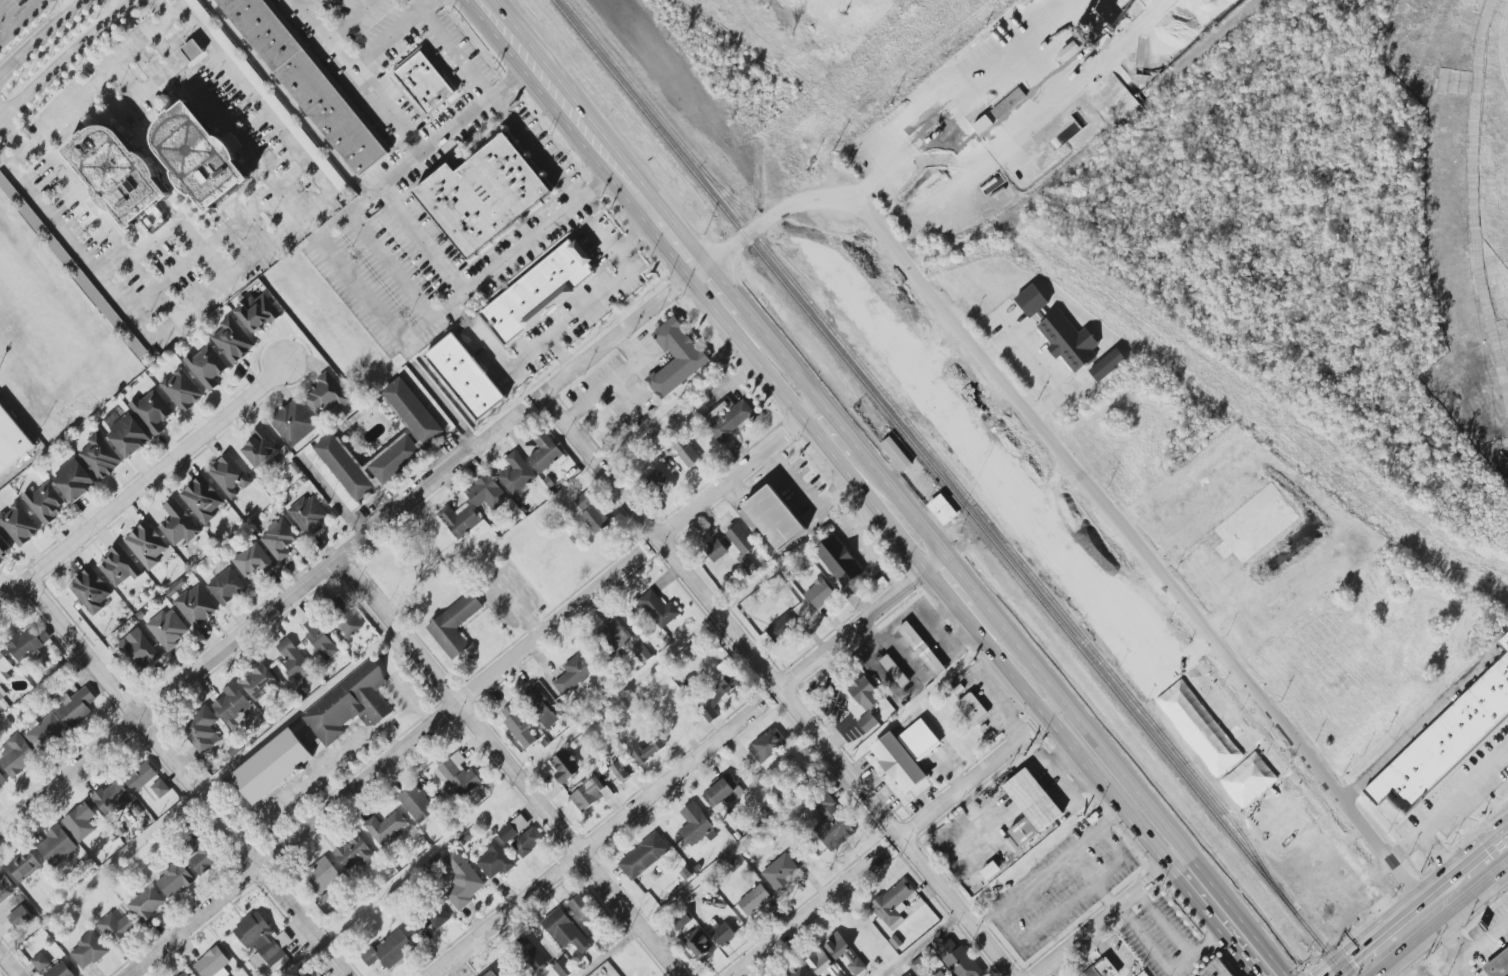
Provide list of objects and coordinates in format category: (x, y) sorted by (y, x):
road: (306, 2)
road: (70, 5)
road: (421, 5)
road: (19, 19)
parking lot: (21, 21)
road: (394, 33)
road: (505, 33)
road: (41, 35)
building: (193, 51)
building: (1070, 51)
road: (459, 52)
road: (66, 58)
road: (95, 78)
road: (512, 81)
building: (307, 82)
building: (425, 82)
road: (288, 99)
road: (387, 110)
building: (1000, 110)
road: (906, 112)
road: (576, 115)
road: (225, 124)
building: (982, 125)
road: (534, 148)
building: (198, 156)
building: (116, 173)
road: (638, 186)
building: (482, 195)
road: (786, 211)
road: (658, 213)
road: (183, 229)
road: (214, 239)
road: (678, 243)
railway: (937, 249)
road: (253, 258)
building: (72, 266)
road: (387, 267)
road: (730, 272)
road: (721, 288)
road: (601, 292)
building: (538, 293)
building: (1032, 301)
building: (257, 312)
road: (631, 320)
road: (411, 330)
building: (233, 340)
building: (1069, 341)
road: (783, 355)
building: (675, 358)
road: (510, 363)
building: (1106, 364)
building: (207, 367)
road: (1043, 369)
building: (461, 378)
building: (410, 379)
road: (613, 381)
building: (182, 390)
building: (326, 394)
road: (444, 405)
building: (152, 411)
building: (728, 419)
building: (294, 423)
road: (839, 423)
building: (128, 436)
building: (11, 441)
building: (413, 444)
building: (261, 448)
building: (545, 451)
building: (686, 452)
building: (896, 453)
railway: (933, 454)
building: (101, 457)
road: (739, 467)
building: (516, 474)
building: (229, 476)
building: (658, 480)
building: (74, 481)
road: (142, 483)
railway: (949, 487)
building: (487, 492)
road: (862, 495)
building: (202, 499)
road: (901, 501)
building: (45, 502)
building: (942, 510)
building: (592, 513)
building: (309, 515)
building: (773, 519)
building: (460, 520)
building: (19, 524)
building: (179, 524)
building: (279, 539)
building: (740, 539)
road: (661, 540)
building: (147, 545)
road: (1137, 545)
building: (4, 548)
building: (715, 550)
building: (839, 560)
building: (253, 561)
building: (119, 567)
road: (961, 577)
building: (226, 586)
building: (92, 590)
building: (820, 593)
building: (196, 606)
building: (659, 609)
road: (262, 619)
building: (346, 619)
road: (864, 619)
building: (454, 625)
building: (781, 627)
building: (168, 629)
building: (613, 638)
building: (321, 640)
building: (1504, 641)
building: (29, 642)
building: (922, 649)
building: (139, 650)
building: (642, 653)
building: (295, 662)
building: (4, 665)
building: (894, 671)
building: (574, 673)
road: (396, 679)
building: (258, 681)
building: (2, 693)
building: (865, 693)
building: (716, 698)
building: (232, 705)
building: (350, 705)
building: (76, 707)
building: (542, 707)
road: (1054, 708)
building: (972, 709)
road: (1433, 715)
building: (867, 722)
building: (518, 724)
building: (1199, 728)
building: (202, 730)
building: (46, 733)
building: (920, 740)
building: (1444, 740)
building: (767, 748)
building: (647, 751)
building: (16, 755)
road: (844, 756)
road: (380, 762)
building: (898, 762)
road: (512, 765)
building: (566, 766)
building: (272, 767)
building: (621, 769)
road: (973, 772)
building: (458, 775)
building: (141, 776)
road: (185, 779)
building: (1249, 780)
building: (2, 781)
road: (1134, 786)
building: (160, 788)
building: (590, 794)
road: (1107, 794)
building: (112, 798)
building: (417, 803)
building: (1031, 806)
road: (1109, 819)
road: (1435, 819)
building: (81, 821)
building: (831, 823)
building: (695, 824)
building: (386, 827)
building: (513, 829)
building: (467, 837)
road: (595, 840)
building: (525, 844)
road: (1406, 844)
building: (56, 845)
road: (1483, 852)
building: (354, 853)
building: (201, 855)
building: (644, 856)
road: (1122, 859)
building: (495, 860)
building: (24, 865)
building: (991, 871)
building: (781, 872)
building: (322, 875)
building: (174, 879)
building: (462, 880)
building: (5, 887)
road: (1105, 896)
building: (755, 900)
road: (1424, 900)
building: (12, 901)
building: (327, 903)
building: (147, 904)
building: (893, 904)
road: (957, 906)
building: (582, 909)
road: (805, 912)
road: (1109, 912)
building: (20, 914)
building: (437, 918)
road: (984, 920)
road: (1439, 920)
road: (1214, 924)
building: (116, 927)
building: (565, 931)
road: (1454, 931)
building: (724, 935)
road: (1174, 937)
road: (1146, 939)
road: (1484, 940)
building: (262, 941)
road: (921, 943)
building: (700, 945)
road: (1455, 946)
building: (390, 950)
building: (88, 951)
building: (844, 952)
road: (1362, 952)
building: (532, 957)
building: (959, 960)
building: (40, 962)
road: (1180, 962)
building: (213, 963)
building: (822, 963)
building: (1497, 964)
road: (9, 965)
building: (924, 967)
building: (563, 968)
building: (1102, 969)
building: (1214, 969)
building: (60, 970)
building: (798, 970)
building: (489, 973)
building: (184, 974)
building: (312, 974)
building: (908, 975)

